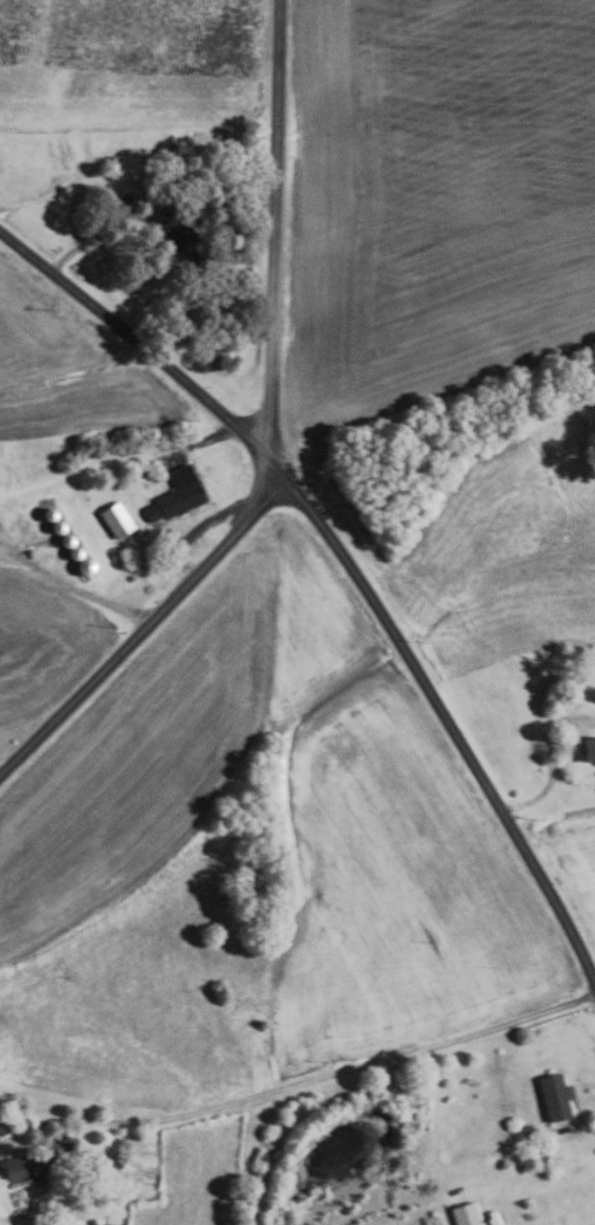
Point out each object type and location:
road: (274, 228)
road: (91, 238)
building: (185, 241)
building: (176, 495)
building: (48, 514)
silo: (48, 514)
building: (115, 520)
building: (57, 527)
silo: (57, 527)
building: (65, 539)
silo: (65, 539)
building: (74, 553)
silo: (74, 553)
road: (173, 556)
road: (348, 565)
building: (84, 566)
silo: (84, 566)
building: (130, 578)
road: (71, 588)
road: (148, 623)
road: (23, 723)
building: (588, 748)
road: (550, 762)
road: (299, 1083)
building: (553, 1096)
building: (0, 1131)
road: (582, 1136)
building: (37, 1162)
building: (463, 1214)
building: (99, 1224)

